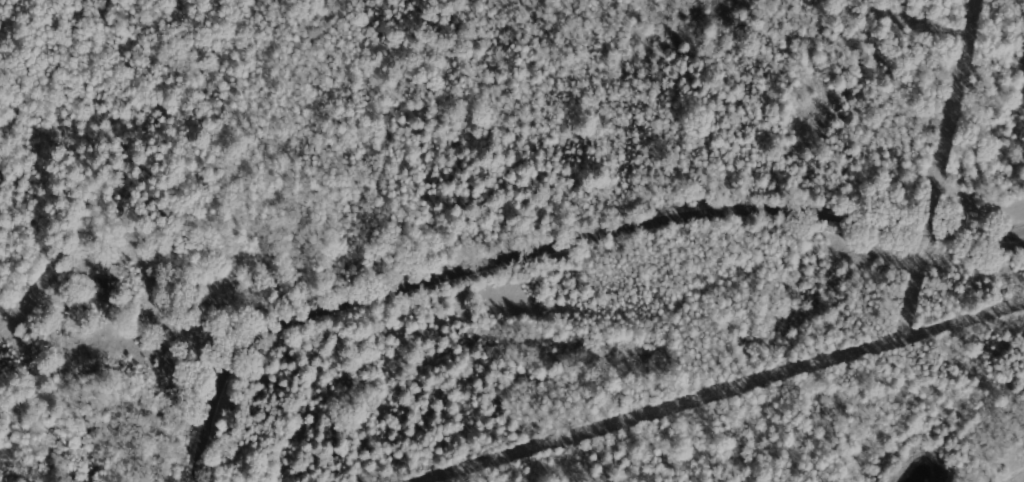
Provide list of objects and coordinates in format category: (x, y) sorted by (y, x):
road: (138, 248)
road: (562, 251)
building: (99, 288)

